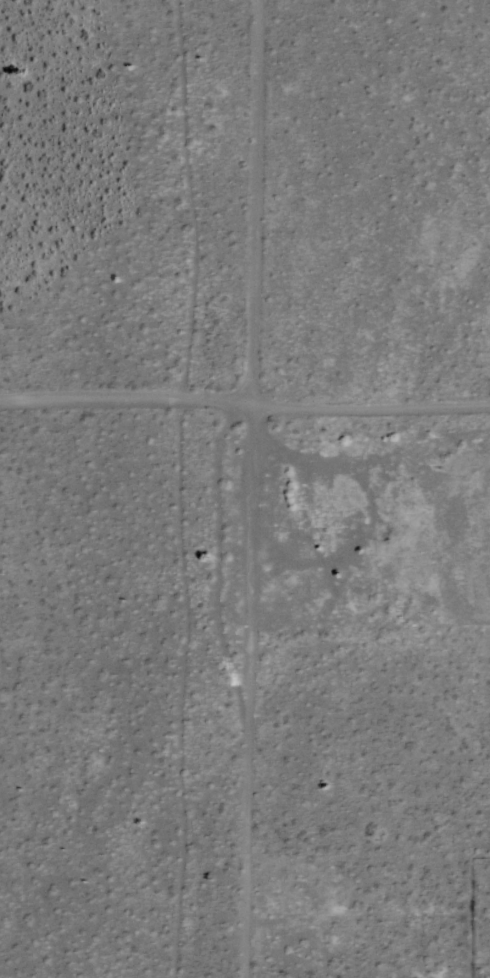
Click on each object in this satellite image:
road: (242, 427)
road: (214, 488)

